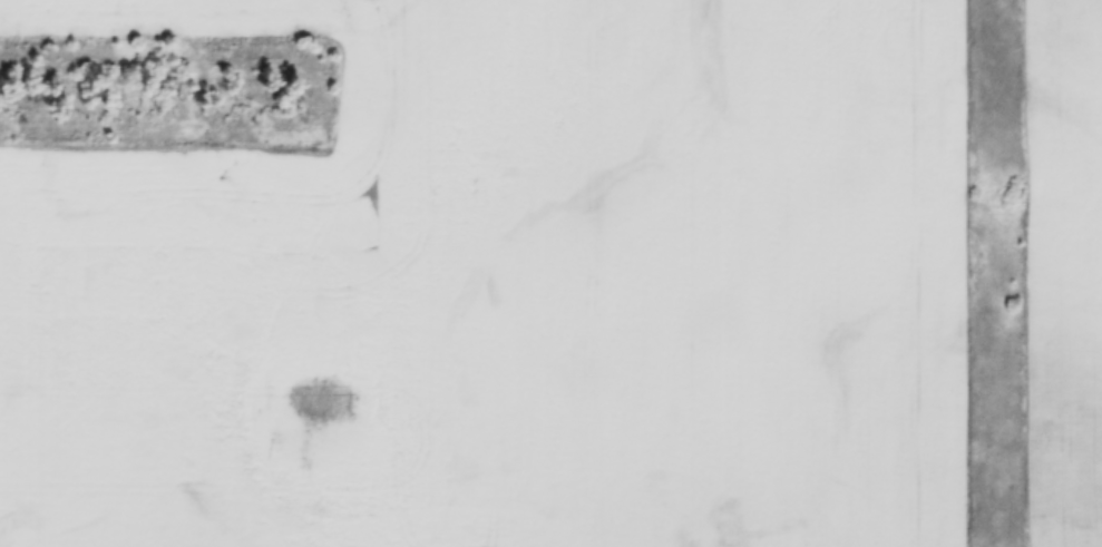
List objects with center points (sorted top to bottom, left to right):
crop: (506, 286)

